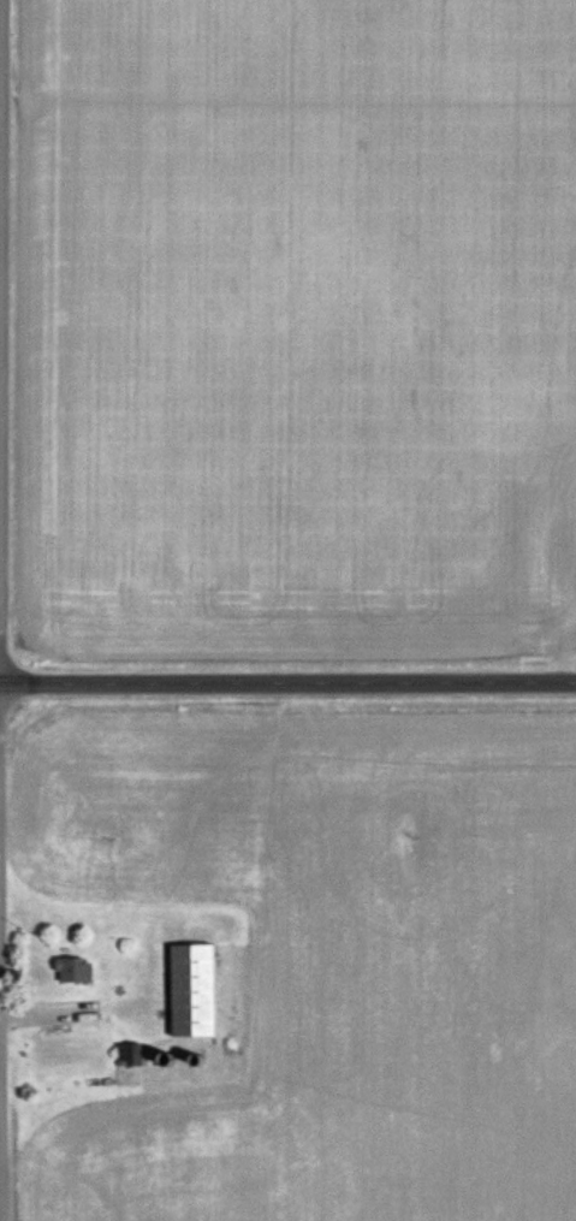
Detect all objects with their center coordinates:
building: (557, 558)
road: (287, 680)
building: (75, 972)
building: (194, 992)
building: (131, 1057)

